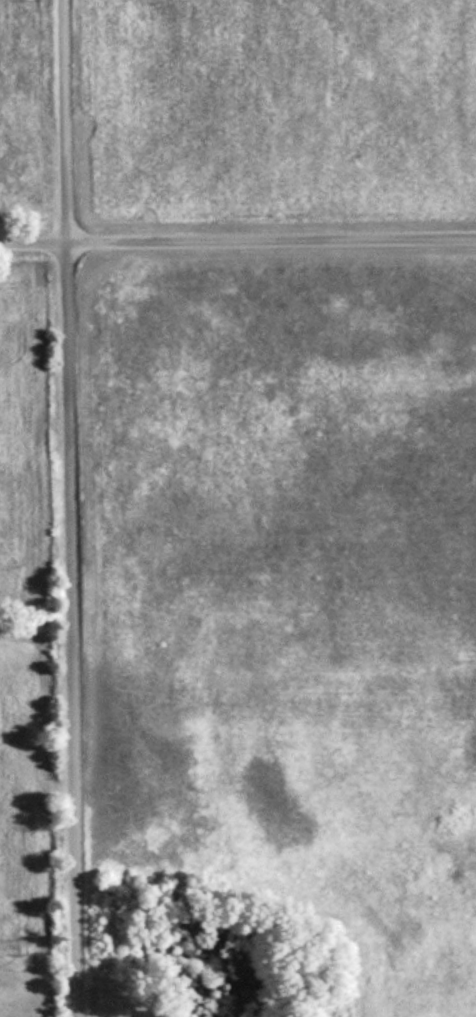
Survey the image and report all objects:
road: (271, 242)
road: (33, 244)
road: (70, 508)

